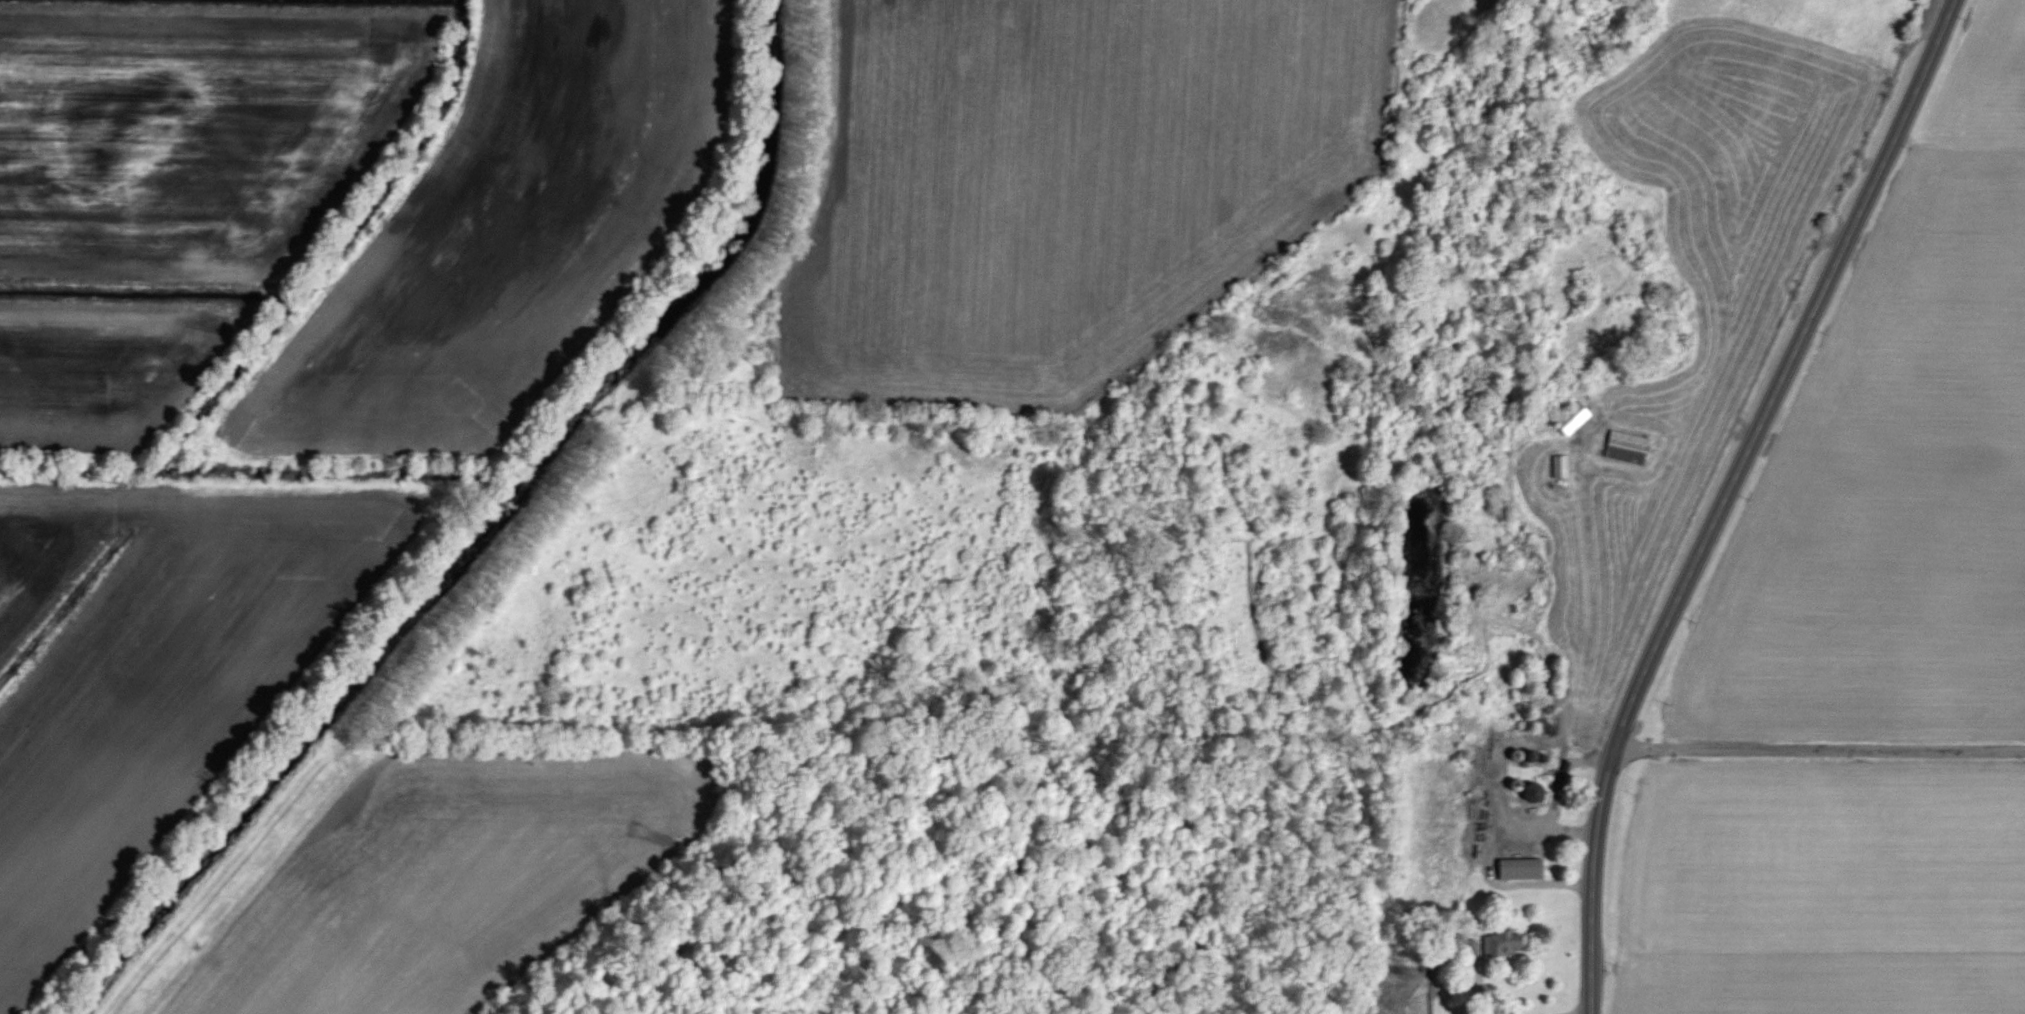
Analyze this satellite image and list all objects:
building: (1569, 420)
building: (1623, 448)
building: (1557, 467)
road: (1726, 495)
road: (1818, 750)
building: (1515, 869)
building: (1491, 944)
road: (1554, 1009)

